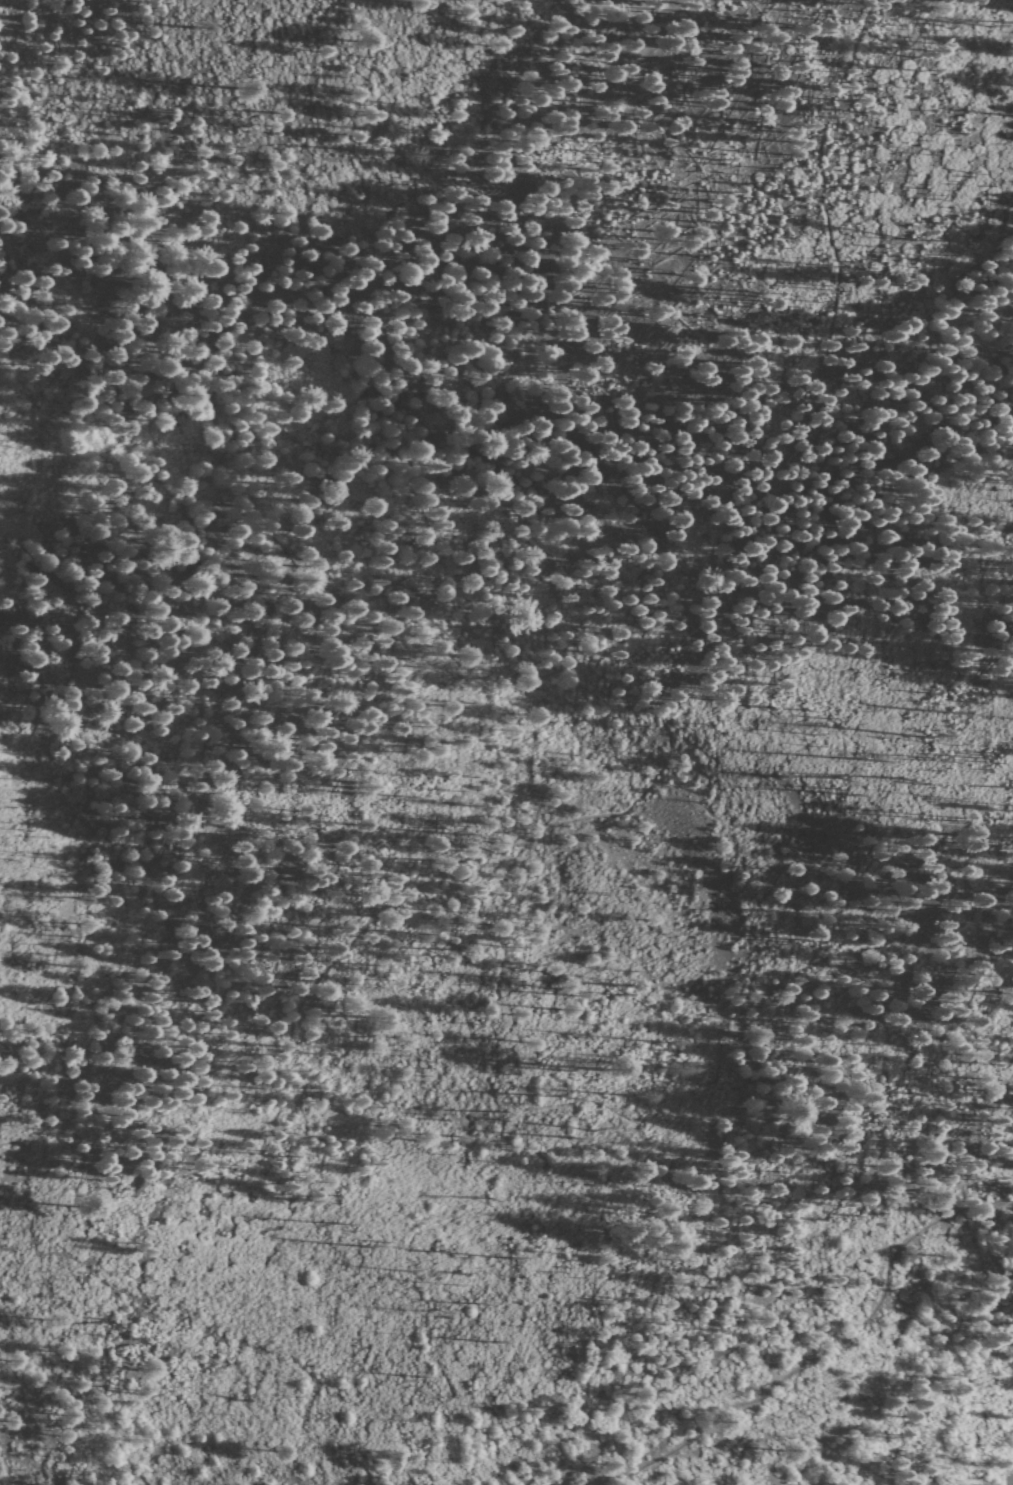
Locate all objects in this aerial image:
road: (657, 740)
road: (813, 1358)

